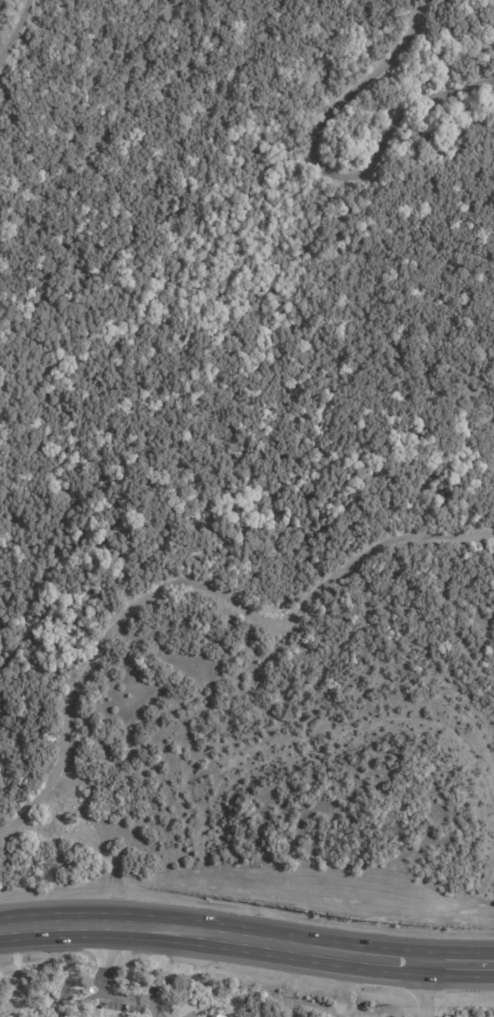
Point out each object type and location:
road: (211, 934)
road: (458, 964)
road: (114, 973)
road: (422, 989)
building: (135, 1002)
building: (66, 1014)
building: (216, 1015)

